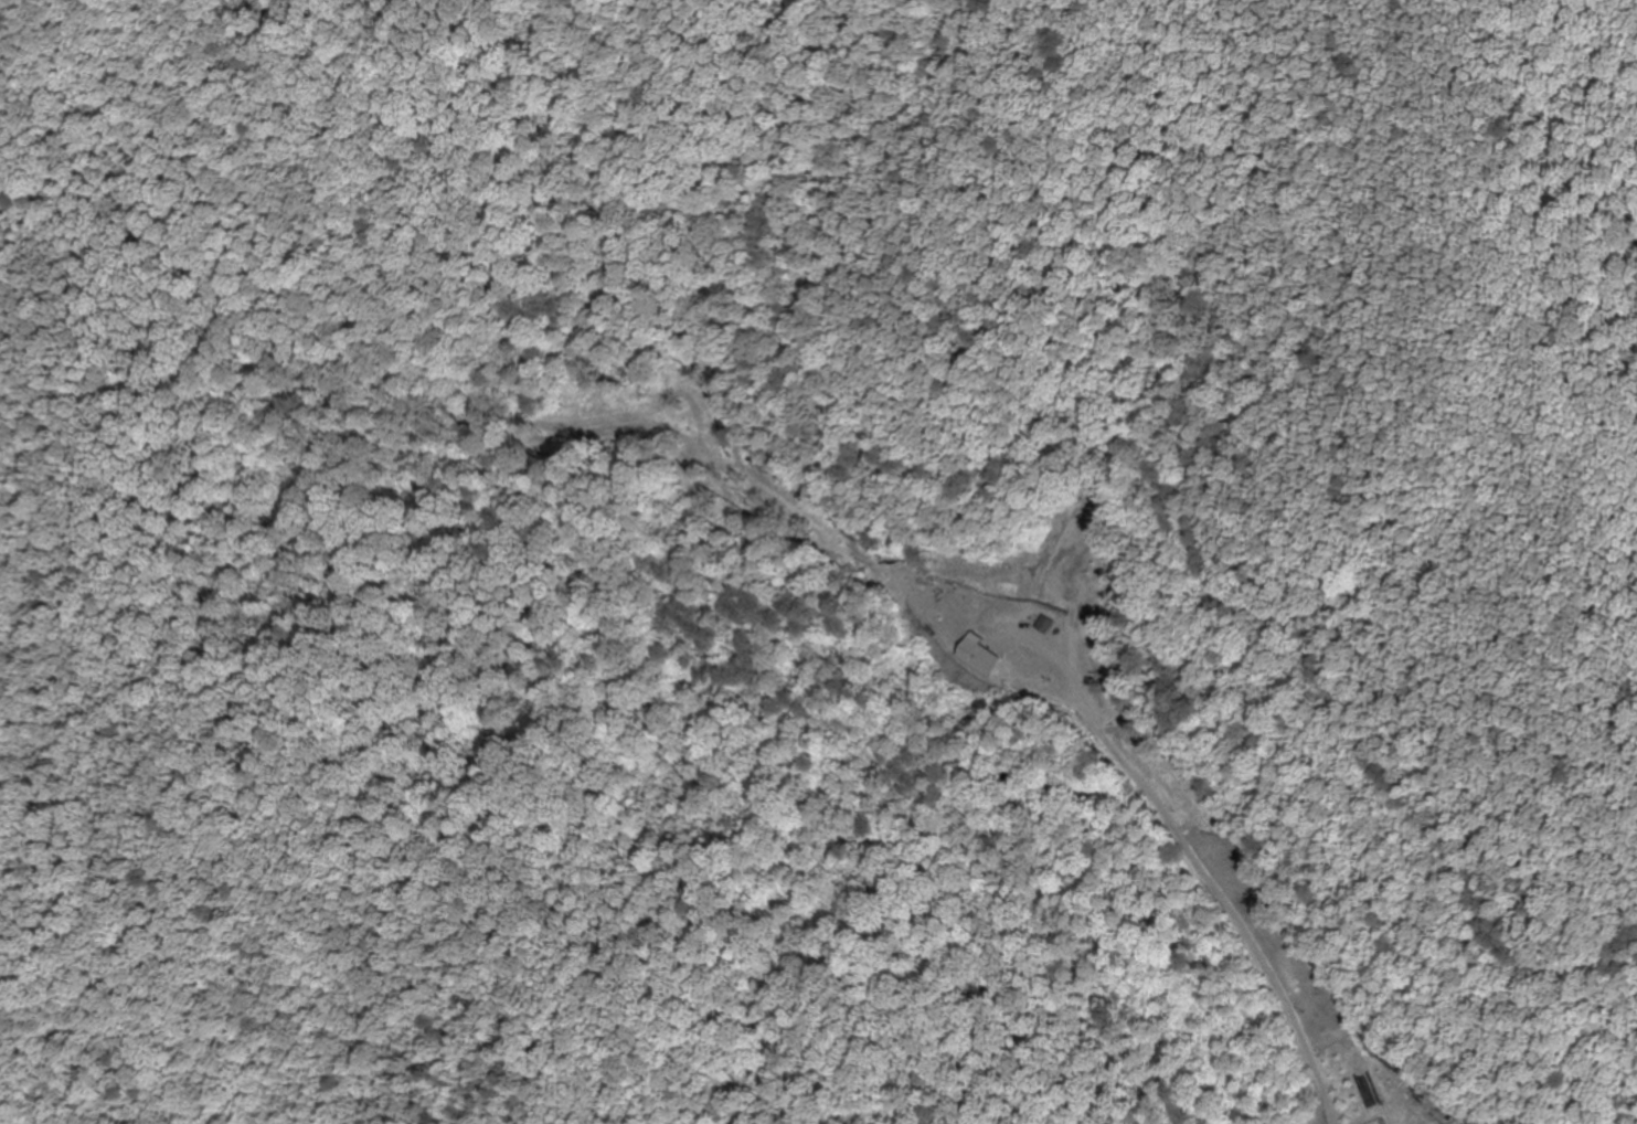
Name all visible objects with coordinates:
building: (979, 659)

